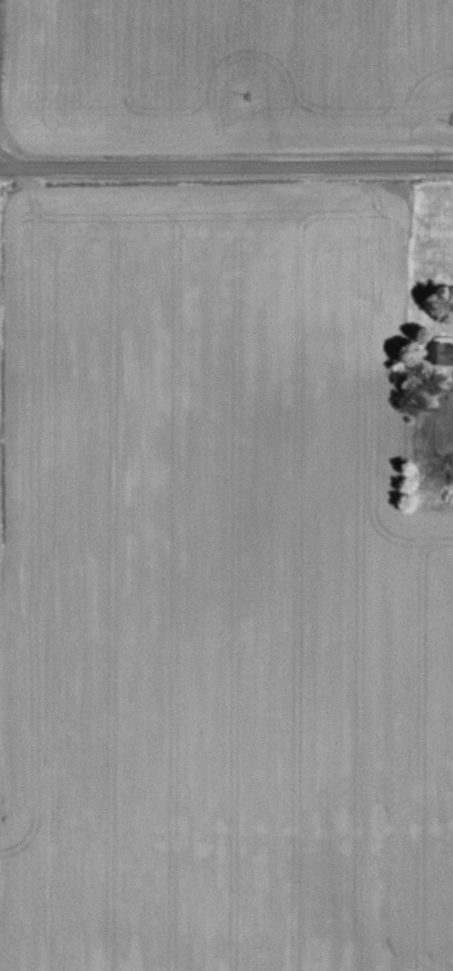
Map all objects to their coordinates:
road: (226, 177)
building: (442, 355)
building: (444, 428)

